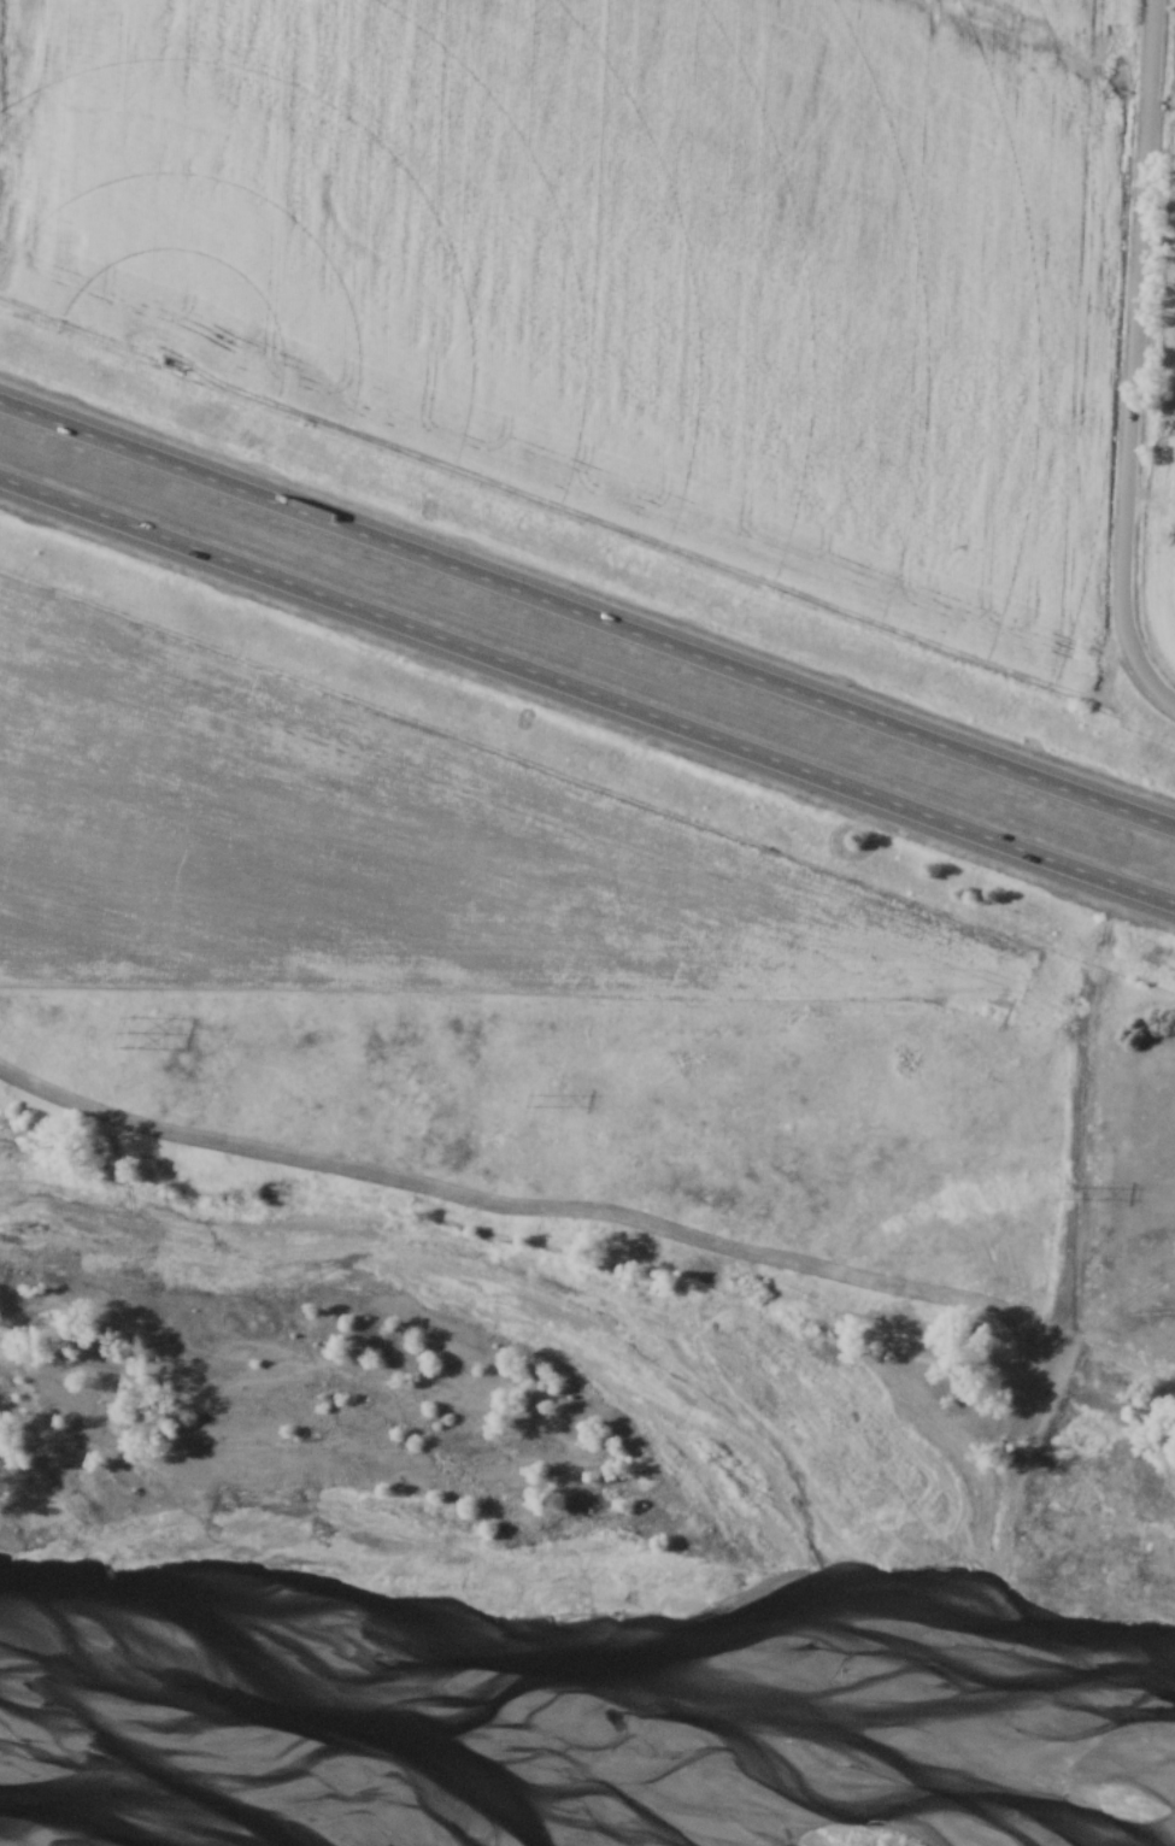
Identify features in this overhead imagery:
road: (1129, 331)
road: (587, 616)
road: (1148, 689)
road: (587, 690)
power tower: (128, 1034)
power tower: (537, 1103)
power tower: (1067, 1194)

